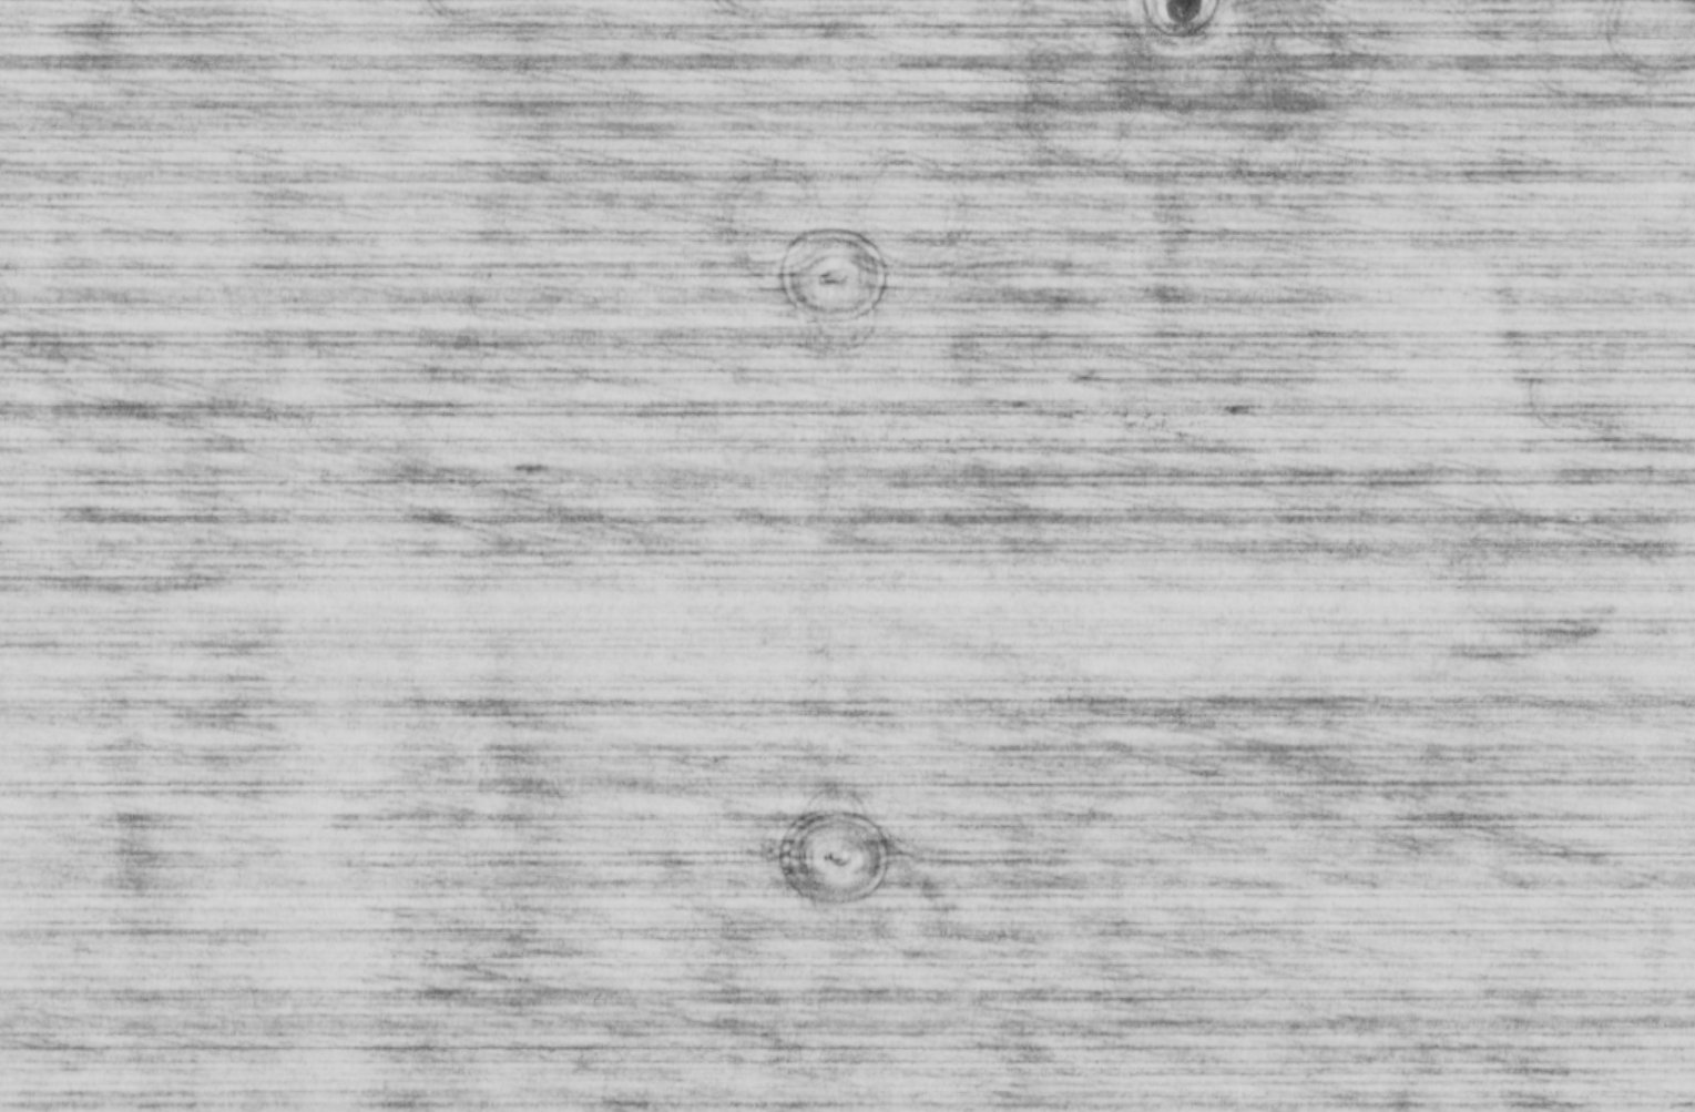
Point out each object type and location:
power tower: (827, 274)
power tower: (833, 858)

